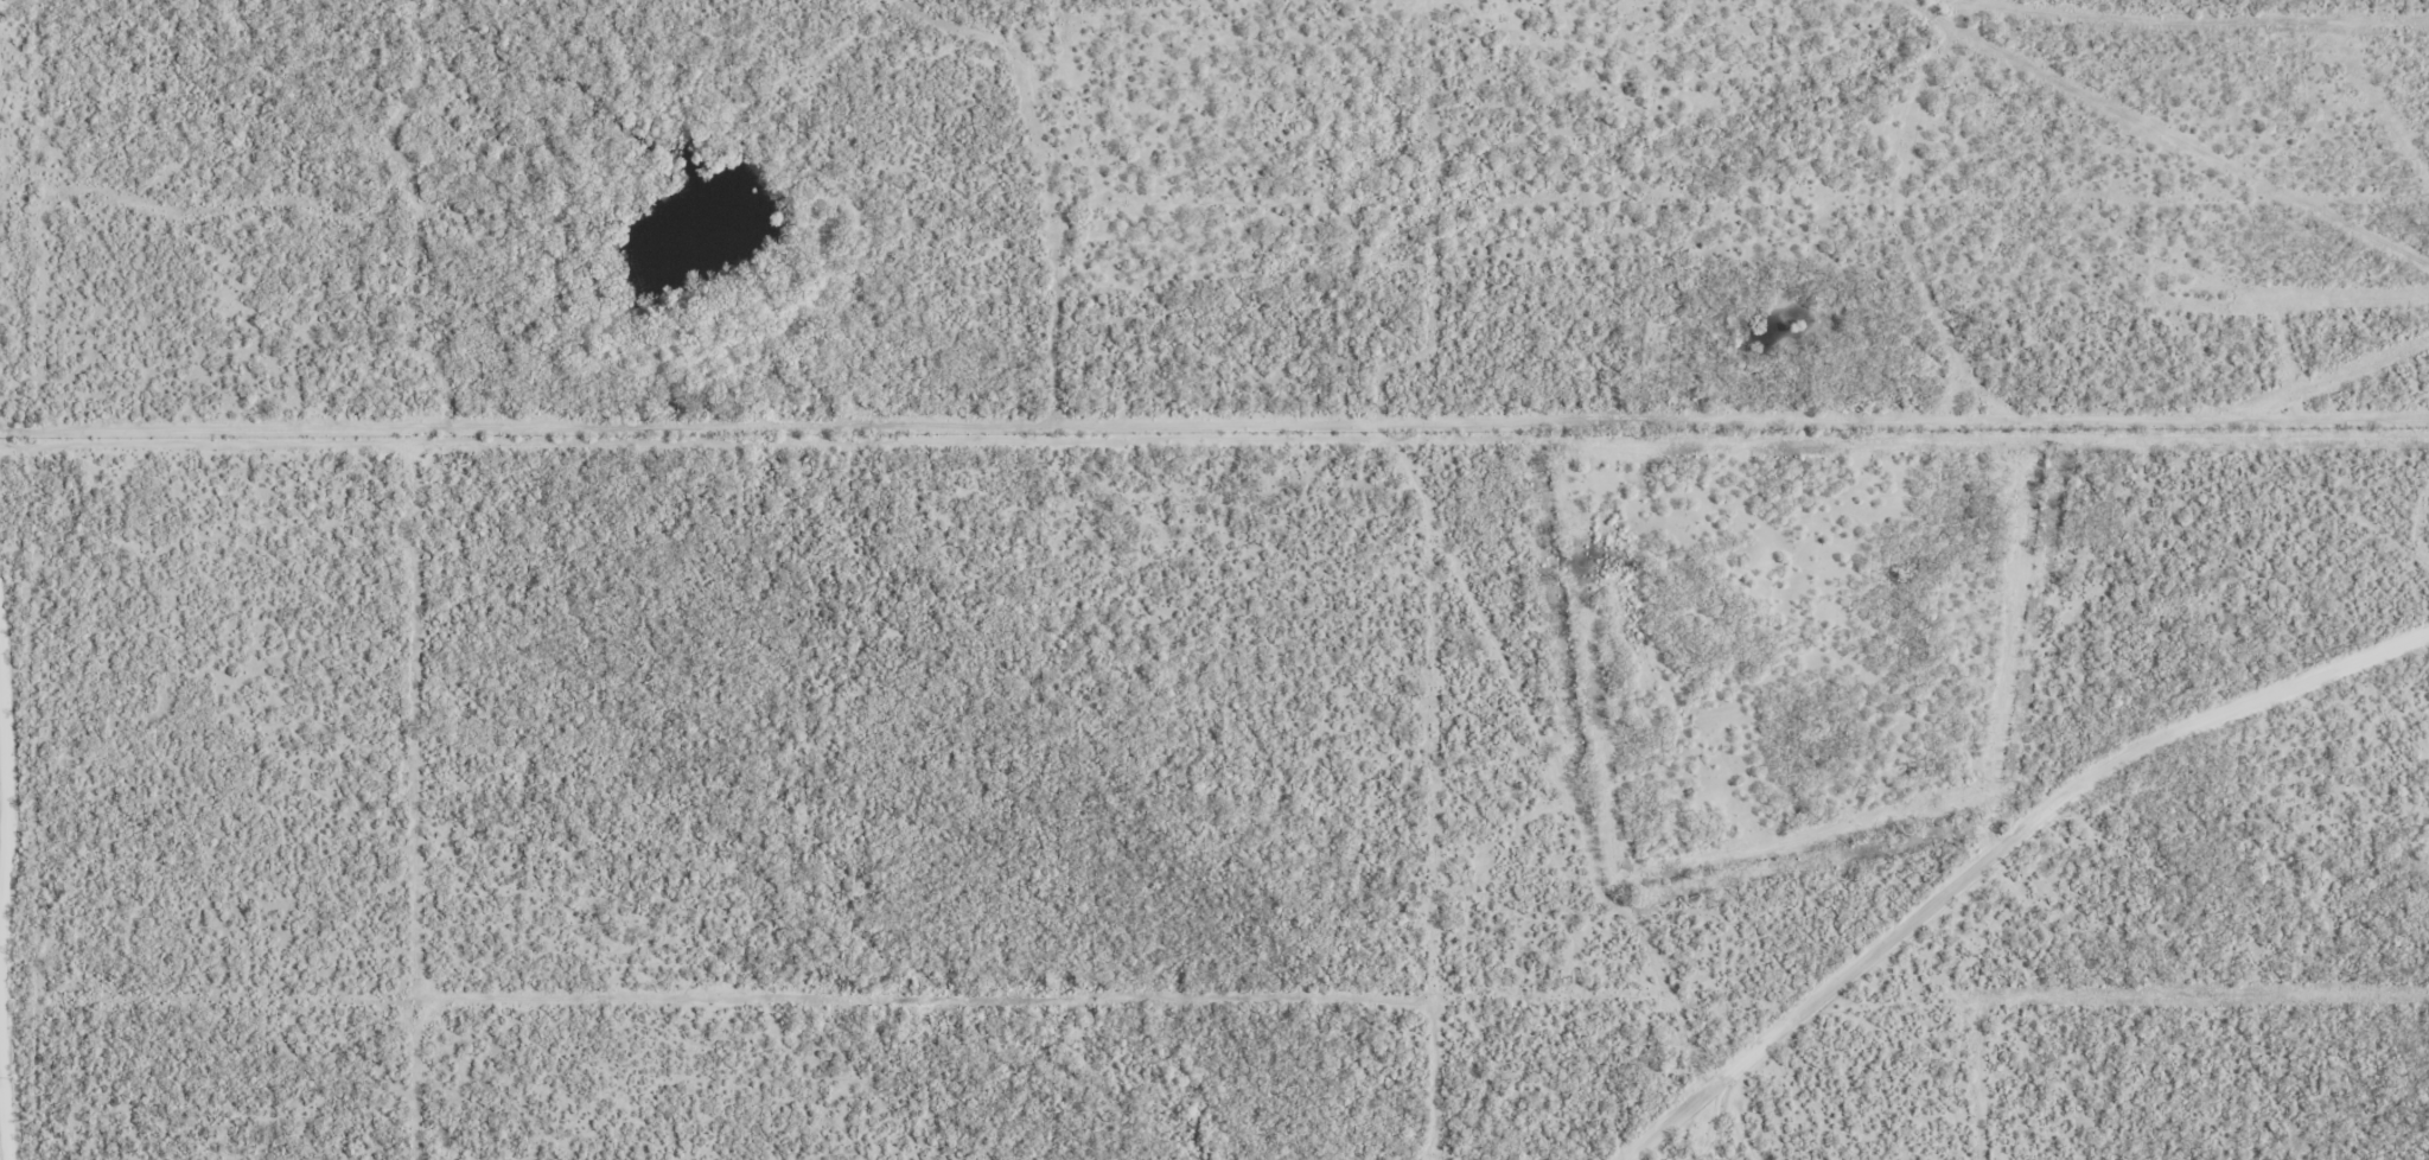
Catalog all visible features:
road: (1, 841)
road: (1997, 846)
road: (6, 1070)

